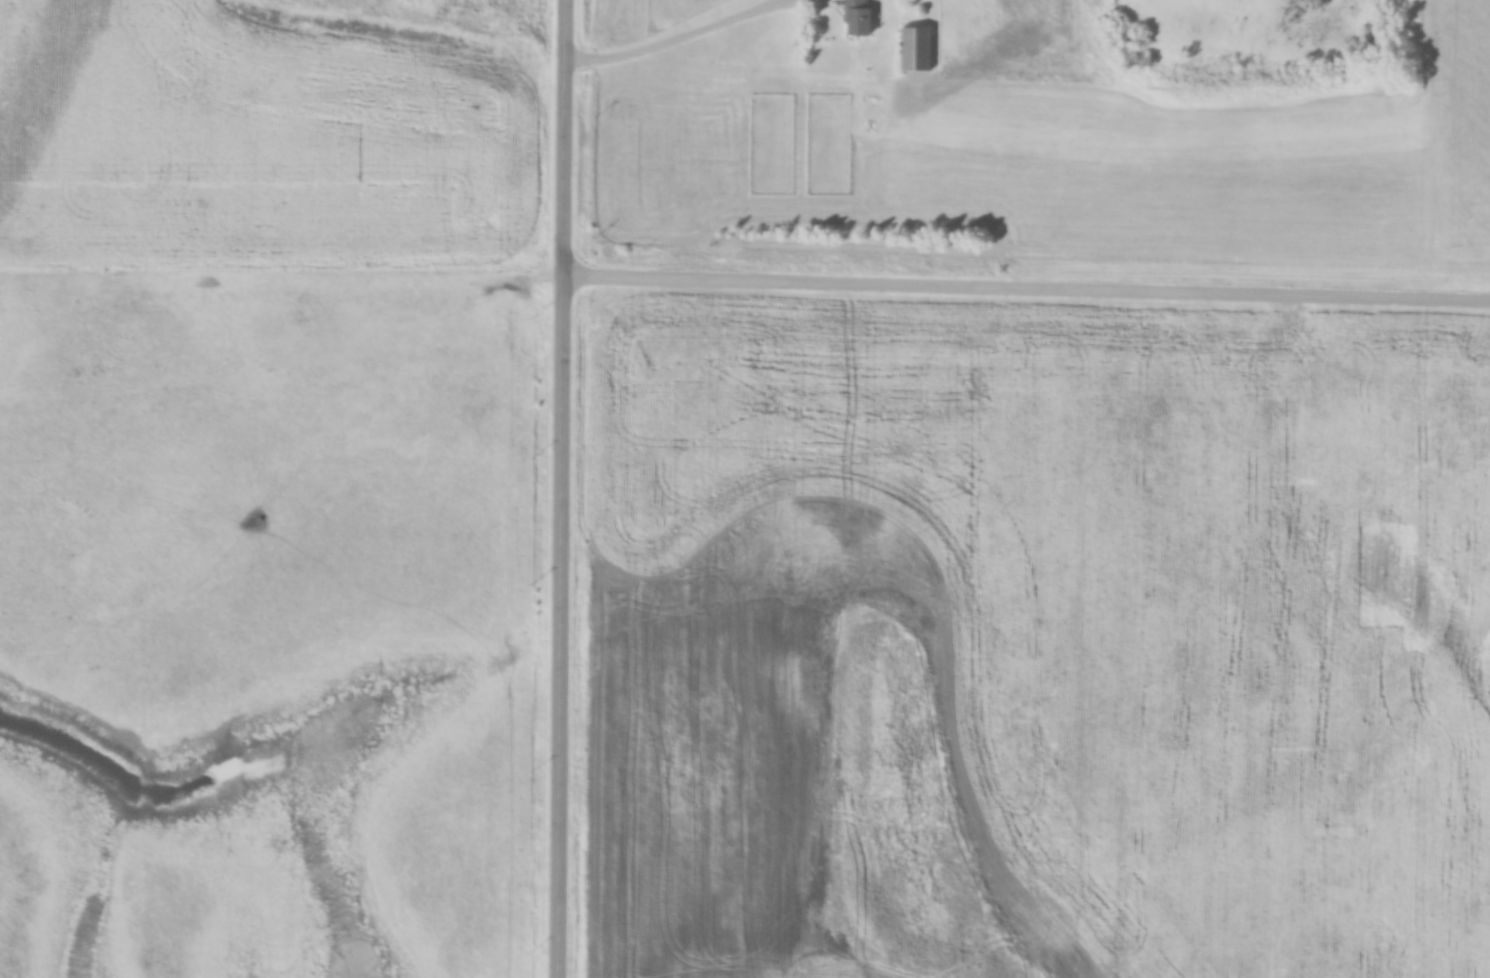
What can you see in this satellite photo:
building: (859, 17)
road: (674, 40)
building: (917, 49)
road: (745, 279)
road: (567, 489)

